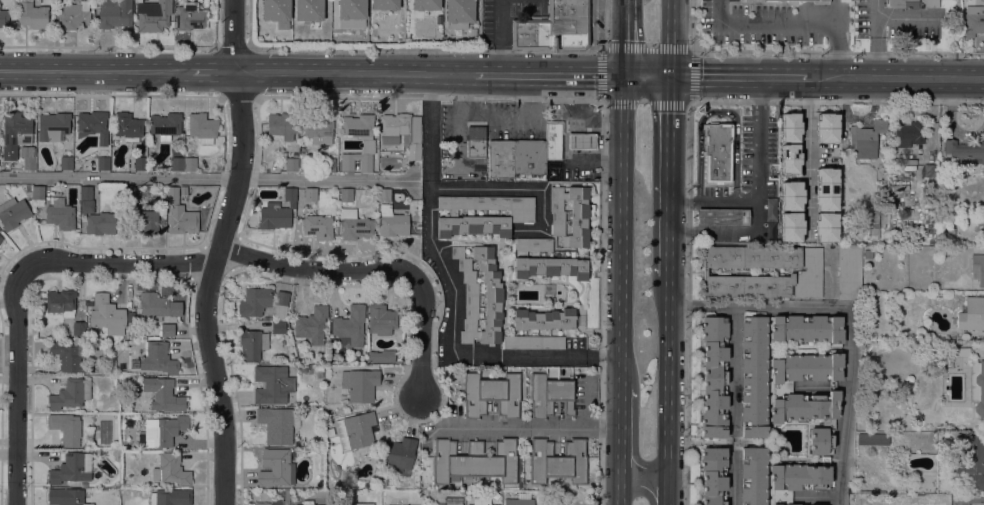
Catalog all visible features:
building: (753, 0)
building: (819, 1)
building: (913, 3)
building: (385, 4)
building: (425, 4)
building: (351, 9)
building: (309, 10)
building: (459, 11)
building: (276, 12)
building: (114, 13)
building: (32, 14)
building: (153, 15)
building: (73, 16)
building: (190, 16)
building: (4, 18)
road: (907, 18)
building: (973, 20)
road: (795, 22)
building: (554, 27)
building: (472, 31)
road: (233, 35)
road: (501, 36)
road: (623, 37)
road: (671, 37)
road: (875, 38)
road: (96, 70)
road: (212, 71)
road: (353, 72)
road: (548, 73)
traffic signals: (623, 74)
road: (647, 74)
traffic signals: (671, 75)
road: (739, 76)
road: (896, 78)
road: (112, 95)
road: (497, 113)
road: (718, 113)
building: (790, 121)
building: (827, 121)
building: (282, 124)
building: (93, 125)
building: (165, 125)
building: (401, 125)
building: (52, 126)
building: (127, 126)
building: (202, 127)
building: (317, 129)
building: (14, 133)
building: (908, 133)
building: (790, 134)
building: (827, 135)
building: (866, 138)
building: (553, 140)
building: (476, 141)
building: (581, 141)
building: (368, 144)
road: (565, 147)
building: (414, 151)
building: (964, 151)
building: (790, 152)
building: (718, 154)
road: (760, 154)
building: (27, 157)
road: (808, 157)
building: (528, 158)
road: (691, 159)
building: (499, 160)
building: (66, 162)
building: (103, 163)
building: (140, 163)
building: (177, 163)
building: (189, 163)
building: (290, 164)
building: (328, 164)
building: (790, 165)
building: (931, 170)
road: (670, 174)
building: (827, 176)
road: (206, 177)
building: (791, 189)
building: (827, 189)
building: (183, 190)
building: (38, 192)
building: (86, 192)
building: (129, 192)
building: (310, 194)
building: (346, 194)
building: (384, 195)
building: (941, 195)
road: (714, 202)
building: (791, 203)
building: (827, 203)
building: (87, 206)
building: (770, 209)
building: (277, 212)
building: (876, 212)
building: (13, 213)
building: (60, 214)
building: (179, 214)
building: (579, 214)
building: (498, 217)
building: (723, 217)
building: (146, 220)
building: (791, 220)
building: (827, 220)
building: (392, 222)
building: (100, 223)
building: (316, 224)
building: (355, 225)
road: (715, 231)
road: (621, 232)
building: (791, 234)
building: (826, 234)
building: (1, 238)
building: (534, 244)
building: (868, 253)
road: (121, 263)
building: (550, 267)
building: (978, 267)
road: (315, 269)
building: (812, 271)
building: (849, 272)
road: (207, 287)
road: (451, 293)
building: (489, 294)
building: (467, 295)
building: (255, 301)
building: (61, 302)
building: (281, 304)
road: (758, 306)
building: (156, 307)
road: (851, 310)
building: (107, 314)
building: (971, 314)
building: (267, 318)
building: (381, 319)
building: (544, 319)
building: (311, 325)
building: (278, 327)
building: (350, 327)
building: (78, 328)
building: (807, 328)
building: (167, 329)
road: (419, 336)
building: (533, 341)
building: (252, 344)
building: (963, 351)
building: (69, 355)
building: (381, 356)
building: (158, 358)
building: (806, 367)
building: (320, 368)
road: (669, 368)
building: (319, 374)
building: (754, 376)
building: (714, 377)
road: (15, 384)
building: (272, 384)
building: (360, 384)
building: (977, 387)
building: (70, 393)
building: (491, 394)
building: (549, 395)
building: (164, 396)
road: (734, 405)
road: (849, 410)
building: (810, 416)
road: (620, 417)
building: (278, 423)
building: (66, 427)
road: (525, 428)
building: (163, 430)
building: (356, 430)
building: (872, 438)
building: (396, 452)
building: (474, 459)
building: (558, 459)
road: (641, 461)
building: (971, 461)
building: (276, 467)
building: (71, 468)
building: (171, 469)
road: (620, 474)
building: (713, 476)
building: (753, 476)
building: (797, 479)
building: (84, 483)
road: (667, 484)
road: (641, 491)
building: (65, 496)
building: (170, 497)
road: (817, 497)
building: (520, 499)
building: (277, 500)
building: (450, 501)
building: (481, 501)
building: (308, 502)
building: (983, 503)
building: (302, 504)
building: (388, 504)
building: (816, 504)

